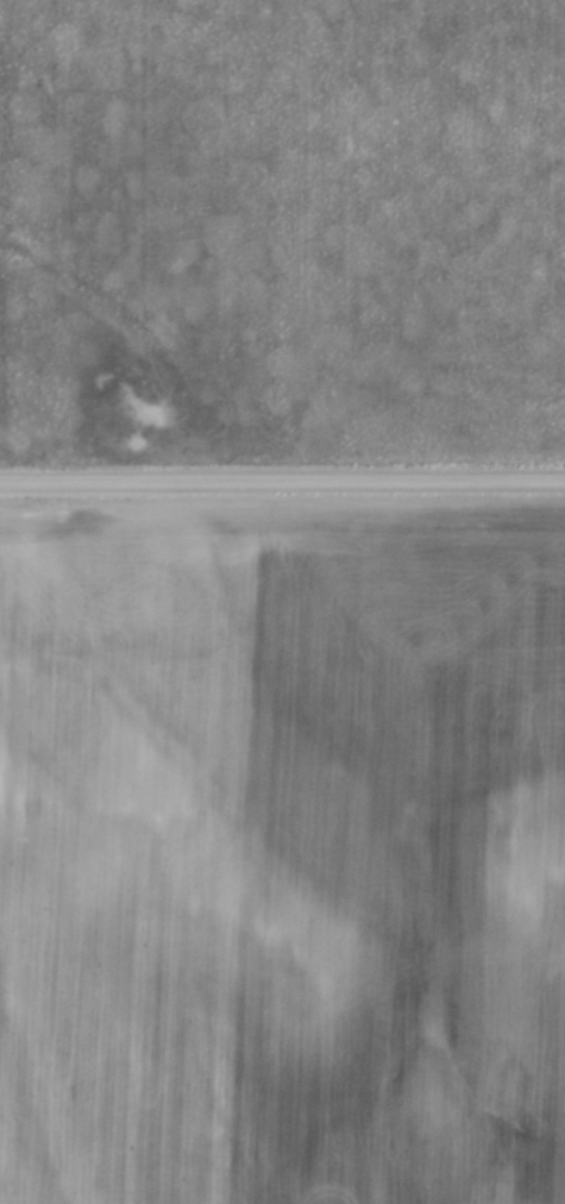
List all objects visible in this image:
road: (282, 478)

